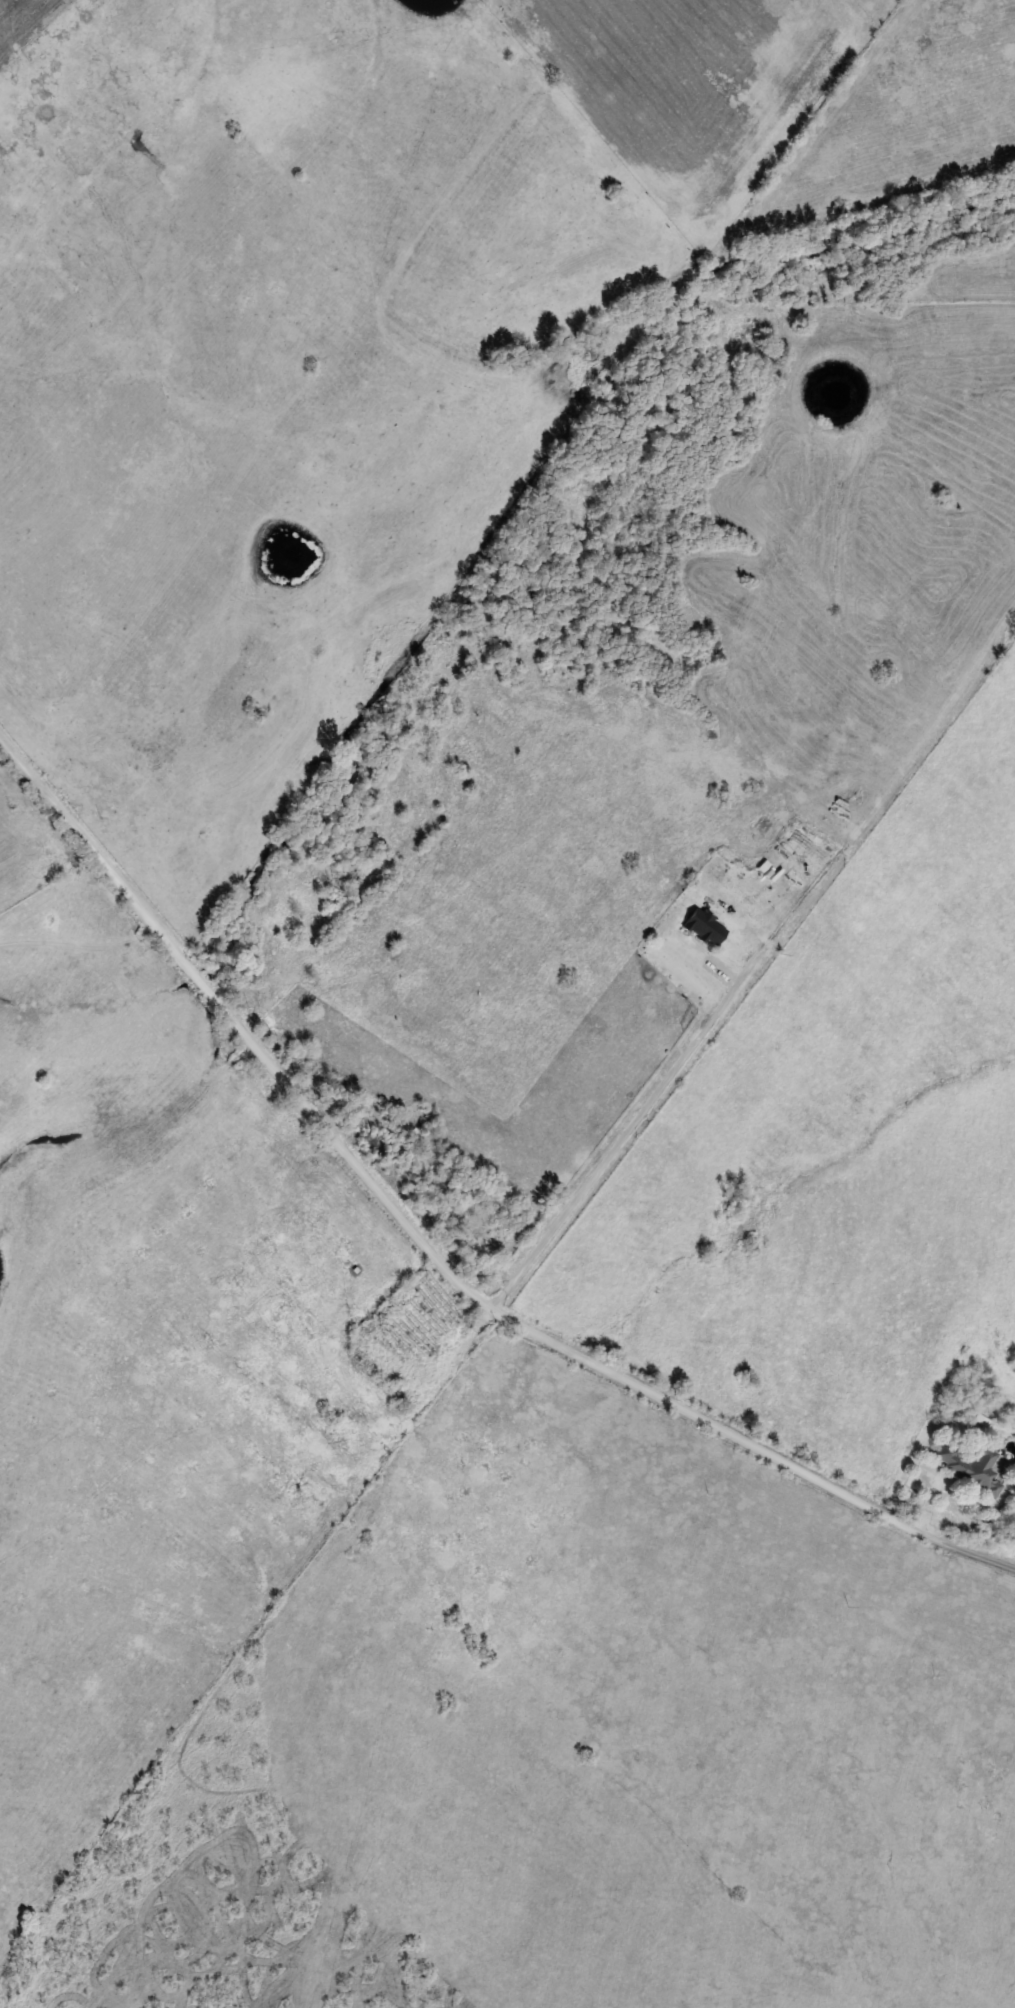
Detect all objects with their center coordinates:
road: (33, 783)
road: (114, 878)
building: (704, 926)
road: (623, 1137)
road: (526, 1333)
building: (972, 1465)

